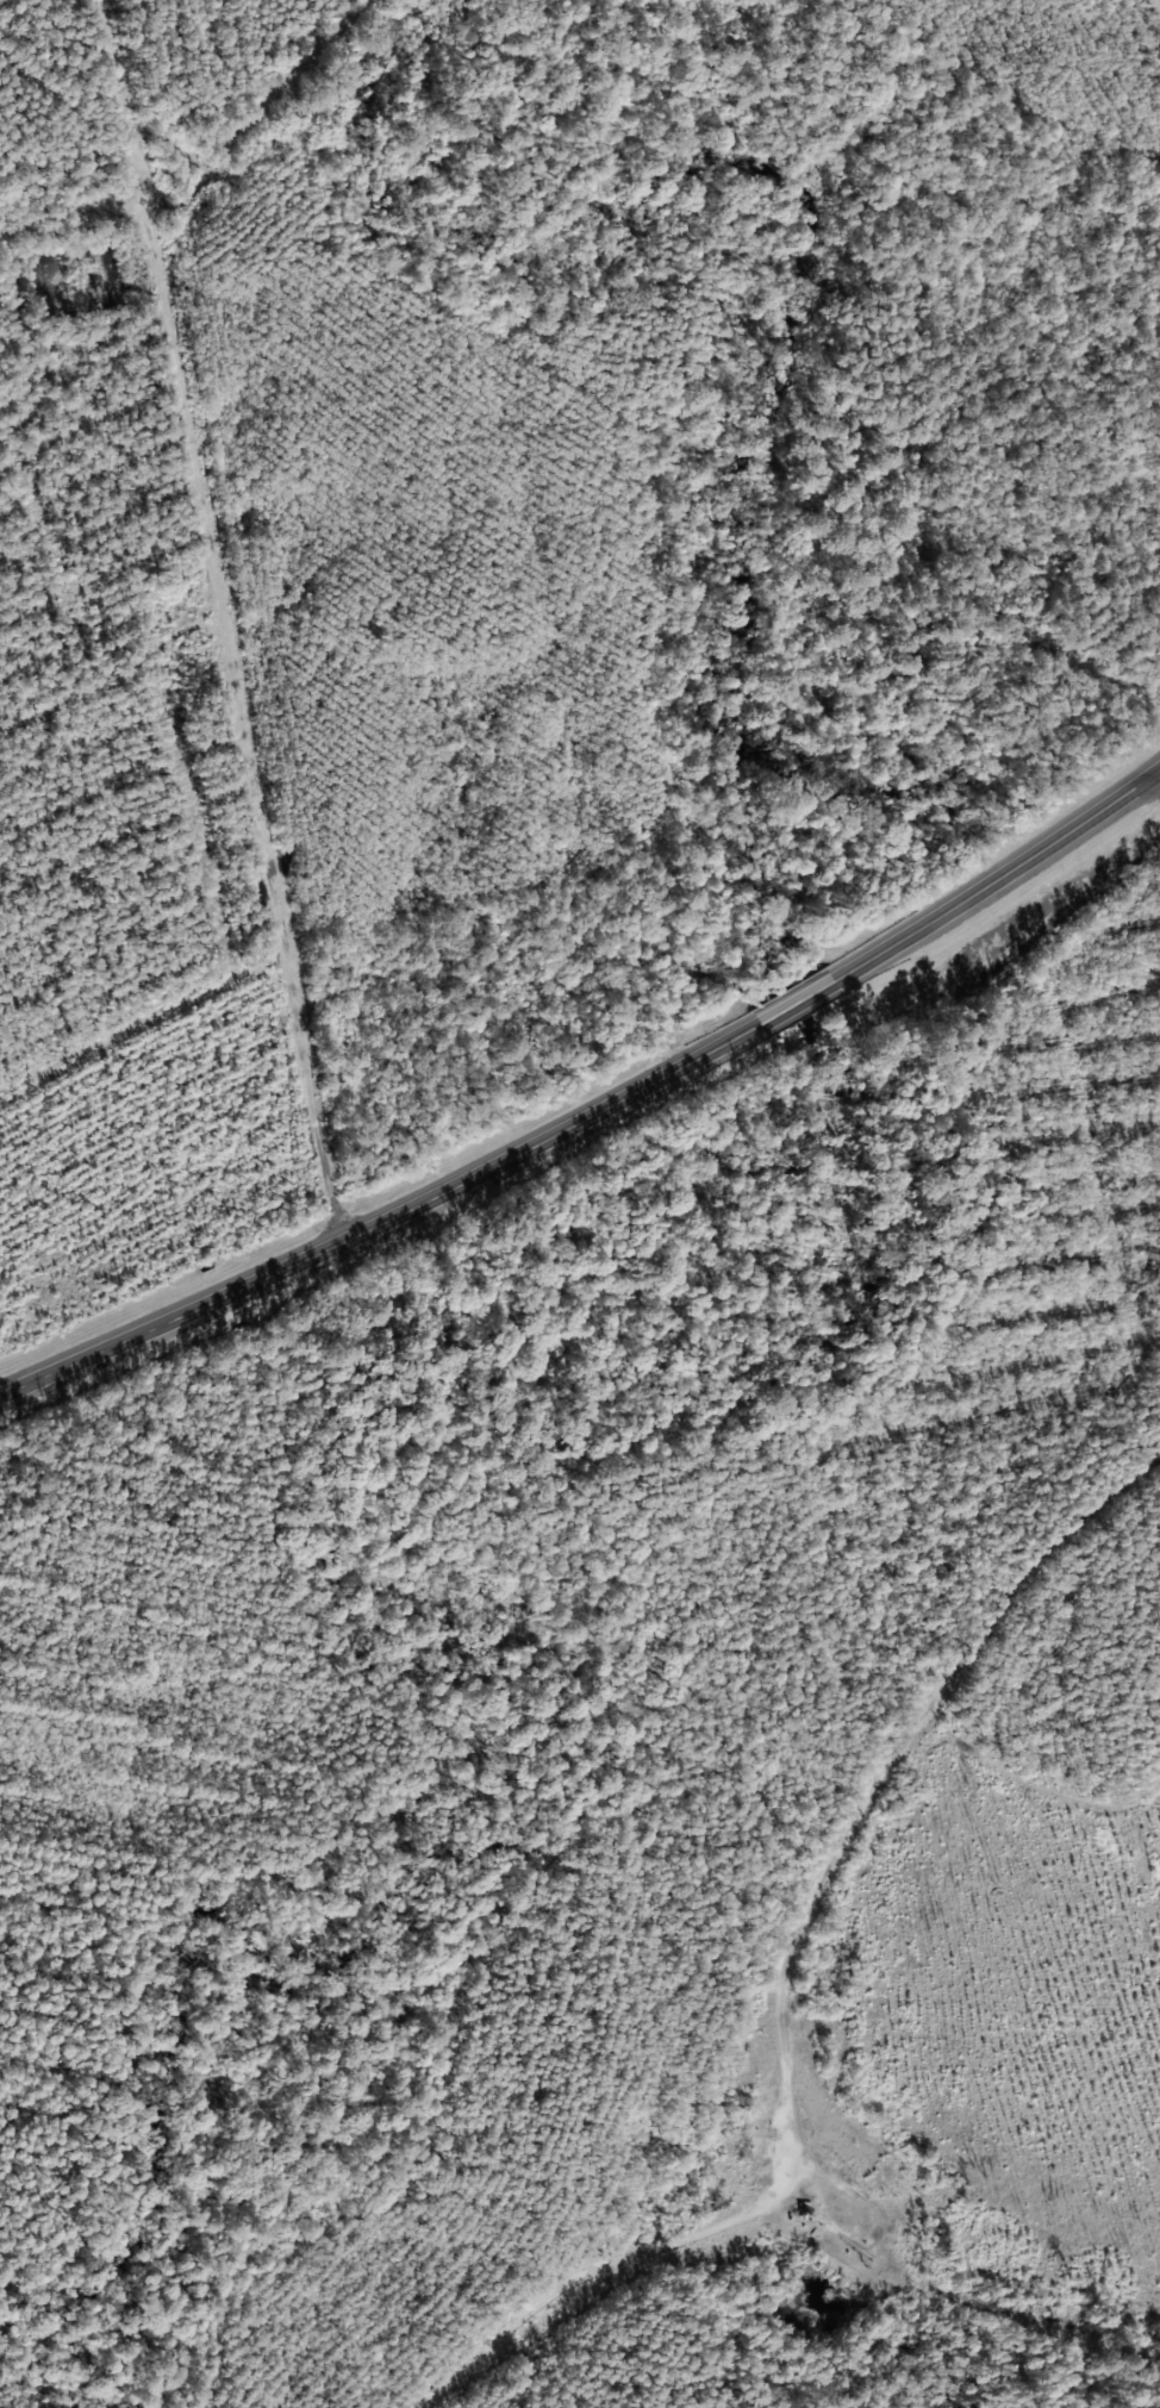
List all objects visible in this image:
road: (220, 619)
road: (594, 1113)

